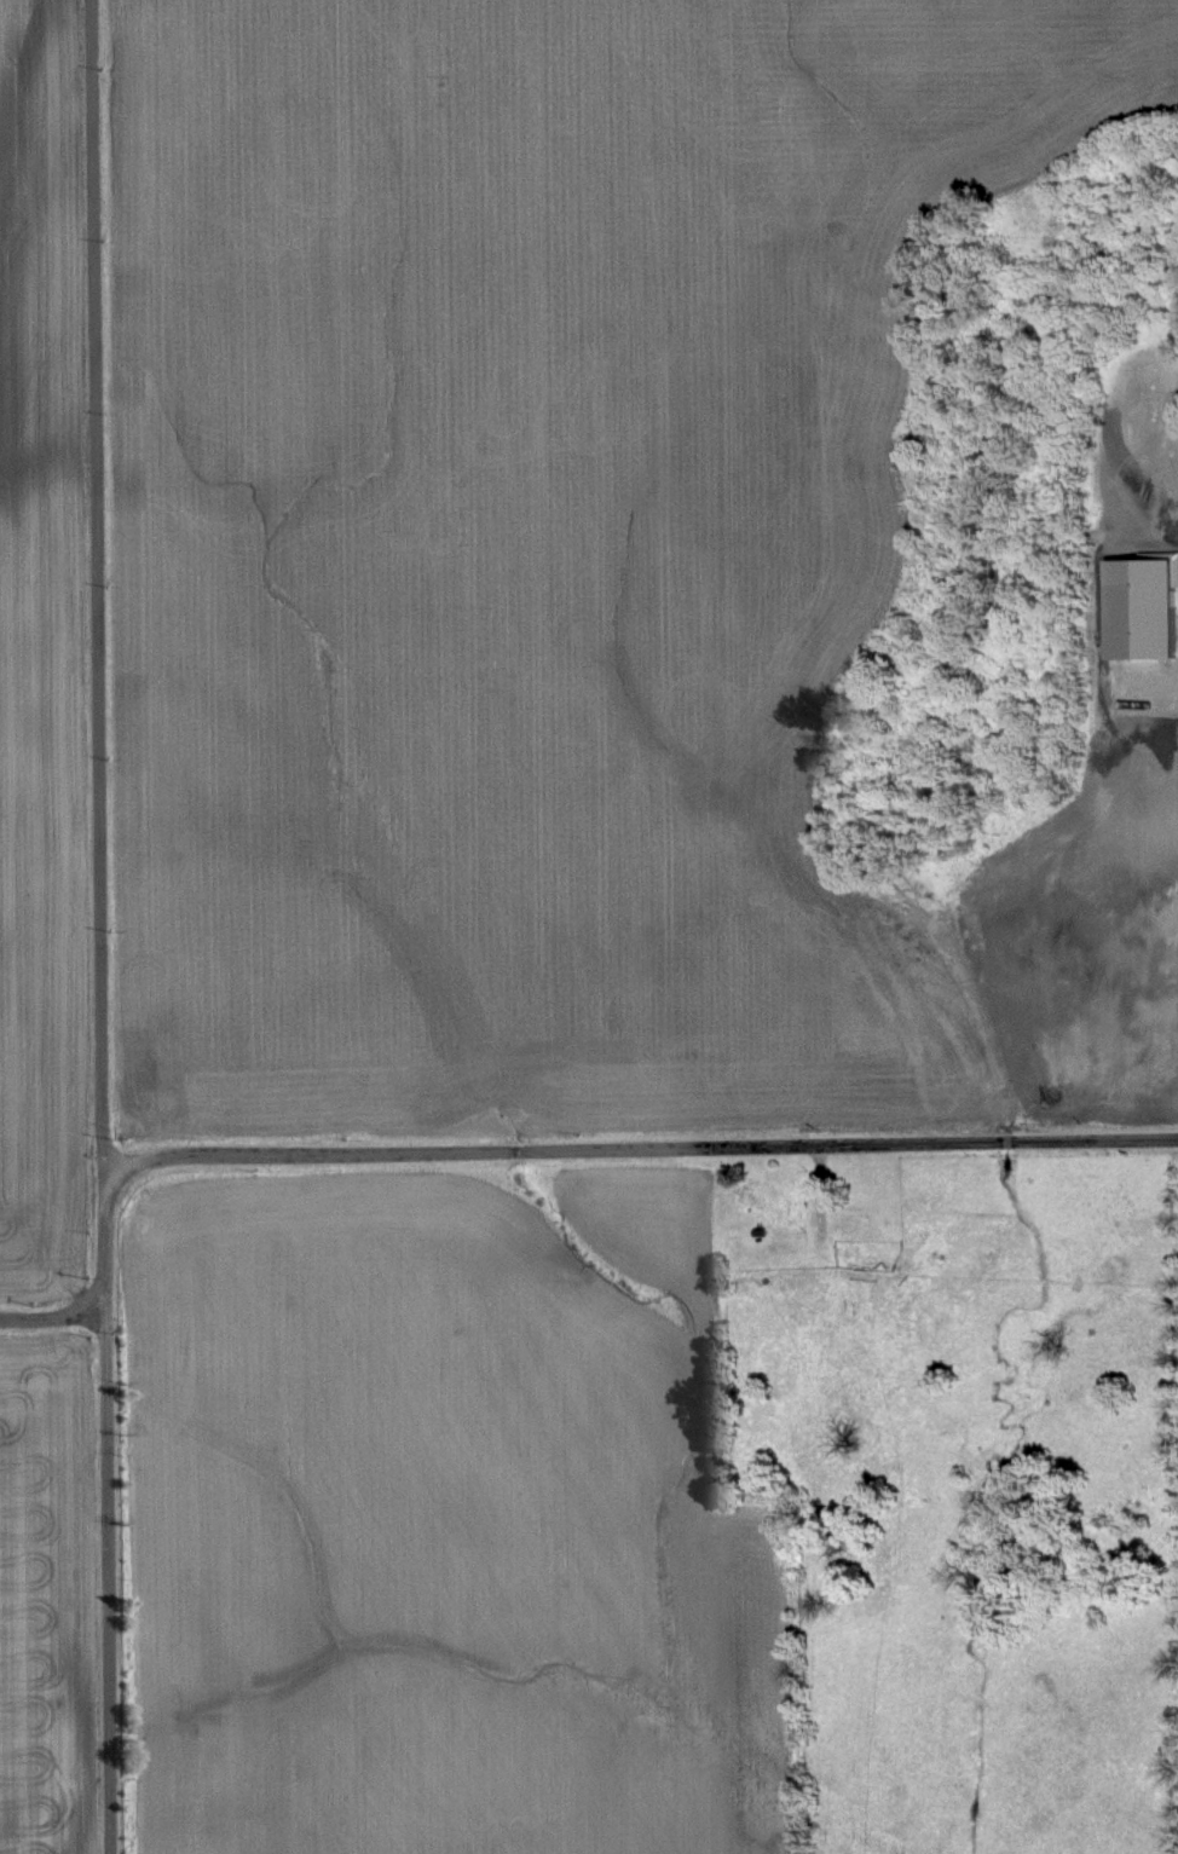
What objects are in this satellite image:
road: (97, 926)
road: (639, 1148)
road: (52, 1315)

